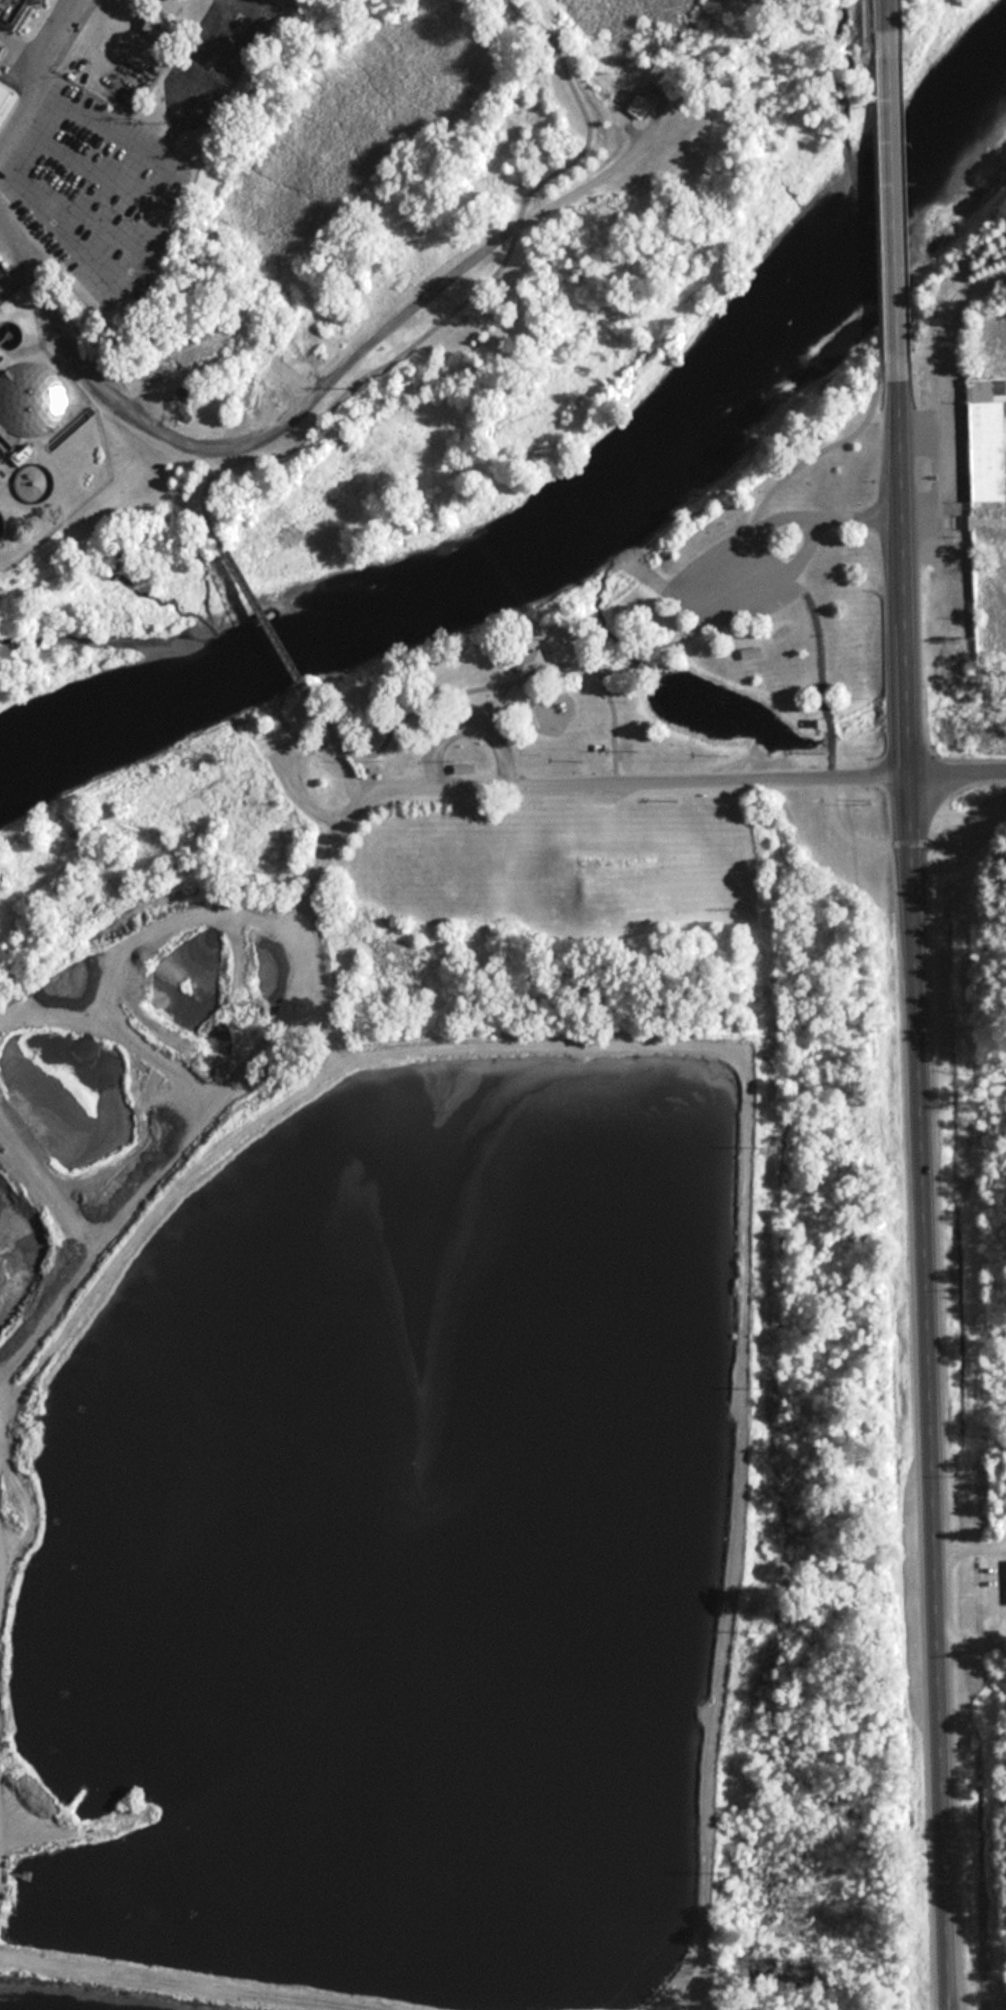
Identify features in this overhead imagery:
building: (17, 13)
road: (890, 15)
road: (870, 26)
building: (166, 30)
building: (2, 50)
road: (38, 72)
building: (3, 91)
building: (641, 106)
road: (879, 203)
road: (895, 204)
road: (462, 302)
road: (942, 360)
road: (319, 380)
building: (287, 386)
building: (28, 400)
building: (988, 429)
road: (826, 447)
road: (940, 476)
road: (921, 517)
road: (973, 518)
river: (590, 528)
road: (689, 571)
road: (656, 587)
road: (262, 603)
park: (647, 639)
road: (657, 651)
building: (752, 655)
building: (530, 662)
road: (827, 670)
road: (473, 688)
building: (626, 756)
building: (465, 768)
road: (959, 776)
road: (618, 781)
road: (316, 810)
road: (859, 822)
road: (960, 822)
road: (316, 886)
road: (220, 1038)
road: (925, 1194)
park: (967, 1346)

